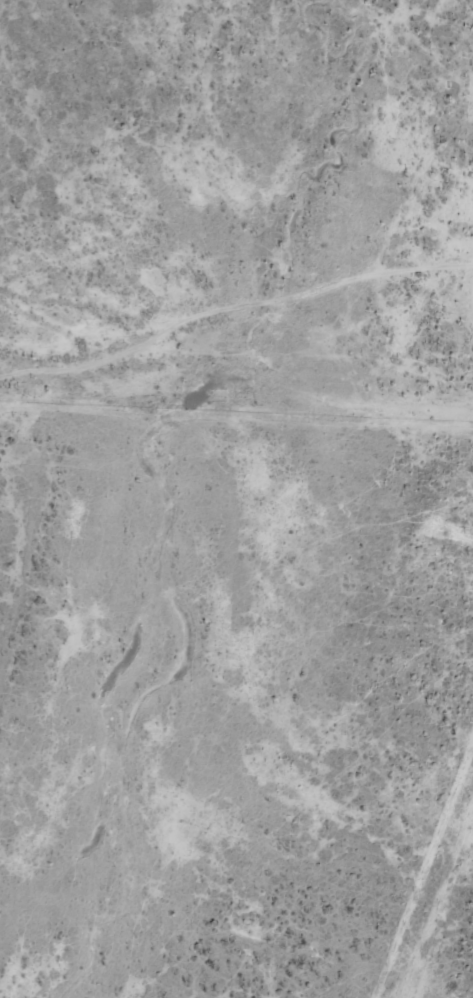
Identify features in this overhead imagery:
road: (234, 394)
road: (435, 956)

